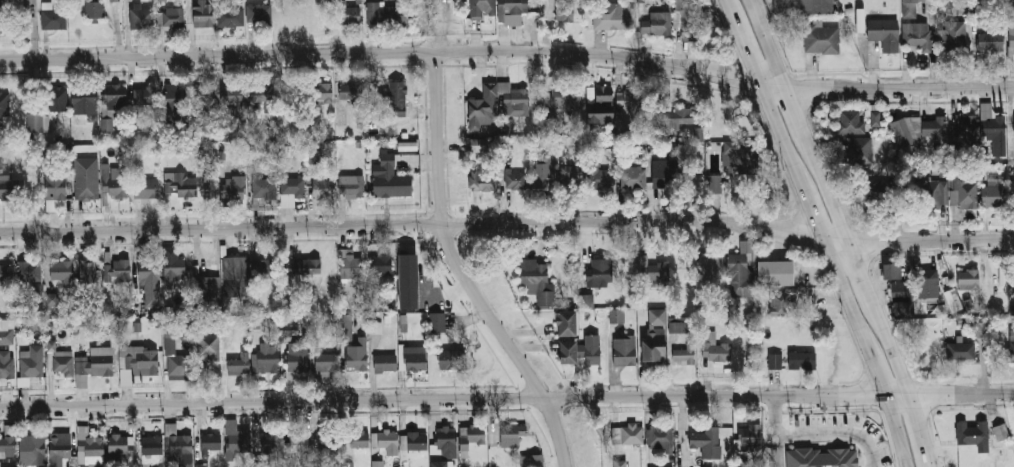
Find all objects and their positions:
building: (113, 0)
building: (1011, 0)
building: (959, 4)
building: (799, 6)
building: (482, 9)
building: (910, 9)
building: (94, 10)
building: (977, 10)
building: (565, 11)
building: (513, 12)
building: (202, 14)
building: (346, 14)
building: (0, 15)
building: (258, 15)
building: (230, 16)
building: (388, 16)
building: (615, 16)
building: (142, 17)
building: (52, 18)
building: (174, 18)
building: (688, 20)
building: (860, 20)
building: (659, 23)
road: (438, 26)
building: (885, 35)
building: (916, 35)
building: (955, 37)
building: (1011, 37)
building: (822, 40)
building: (991, 42)
road: (774, 44)
road: (508, 51)
road: (761, 85)
building: (350, 91)
building: (282, 92)
building: (322, 93)
building: (259, 94)
building: (145, 95)
building: (205, 95)
building: (232, 95)
building: (83, 96)
building: (395, 97)
building: (563, 98)
building: (57, 99)
building: (176, 102)
building: (112, 103)
building: (494, 104)
building: (4, 105)
building: (601, 105)
building: (630, 112)
building: (677, 115)
building: (876, 119)
road: (805, 122)
building: (851, 122)
building: (35, 123)
building: (992, 123)
building: (1013, 126)
building: (935, 127)
building: (907, 128)
building: (968, 129)
building: (698, 134)
building: (480, 145)
building: (861, 151)
building: (207, 153)
building: (315, 156)
building: (740, 158)
building: (544, 169)
building: (571, 172)
building: (664, 173)
building: (599, 177)
building: (634, 177)
building: (86, 178)
building: (483, 179)
building: (5, 180)
building: (390, 180)
building: (516, 180)
building: (115, 182)
building: (55, 184)
building: (181, 184)
building: (711, 184)
building: (351, 186)
building: (234, 187)
building: (145, 188)
building: (322, 188)
building: (264, 189)
building: (965, 190)
building: (291, 191)
building: (927, 193)
building: (1012, 194)
building: (992, 196)
road: (835, 198)
road: (810, 206)
road: (508, 223)
building: (173, 263)
building: (379, 264)
building: (302, 266)
building: (710, 266)
building: (350, 267)
building: (263, 269)
building: (121, 270)
building: (29, 271)
building: (60, 271)
building: (87, 271)
road: (463, 271)
building: (656, 271)
building: (741, 271)
building: (237, 272)
building: (891, 272)
building: (6, 273)
building: (596, 273)
building: (775, 273)
building: (969, 279)
road: (868, 280)
building: (537, 281)
building: (402, 282)
building: (149, 285)
road: (844, 287)
building: (928, 287)
building: (899, 290)
building: (204, 291)
building: (951, 296)
building: (52, 299)
building: (584, 300)
building: (779, 304)
building: (906, 309)
building: (615, 315)
building: (437, 322)
building: (562, 324)
building: (291, 325)
building: (677, 325)
building: (347, 328)
building: (981, 330)
building: (6, 332)
building: (654, 336)
building: (208, 348)
building: (715, 348)
building: (589, 350)
building: (960, 350)
building: (624, 351)
building: (563, 352)
building: (1011, 354)
building: (356, 355)
building: (684, 355)
road: (899, 356)
building: (296, 359)
building: (414, 359)
building: (451, 359)
building: (269, 360)
building: (802, 360)
building: (59, 361)
building: (139, 361)
building: (774, 361)
building: (99, 362)
building: (325, 363)
building: (385, 363)
road: (876, 363)
building: (6, 364)
building: (179, 365)
building: (238, 366)
building: (31, 367)
road: (506, 397)
building: (1001, 429)
road: (926, 430)
road: (900, 431)
building: (511, 434)
building: (627, 434)
building: (973, 434)
building: (473, 435)
road: (814, 435)
building: (660, 436)
building: (237, 438)
building: (750, 438)
building: (358, 439)
building: (385, 440)
building: (416, 441)
building: (707, 441)
building: (210, 443)
building: (270, 443)
building: (328, 443)
building: (60, 445)
building: (121, 445)
building: (151, 445)
building: (178, 446)
building: (7, 447)
building: (442, 447)
building: (299, 448)
building: (90, 449)
building: (31, 450)
road: (776, 451)
building: (825, 454)
building: (532, 461)
building: (377, 463)
building: (619, 463)
building: (348, 464)
building: (201, 465)

